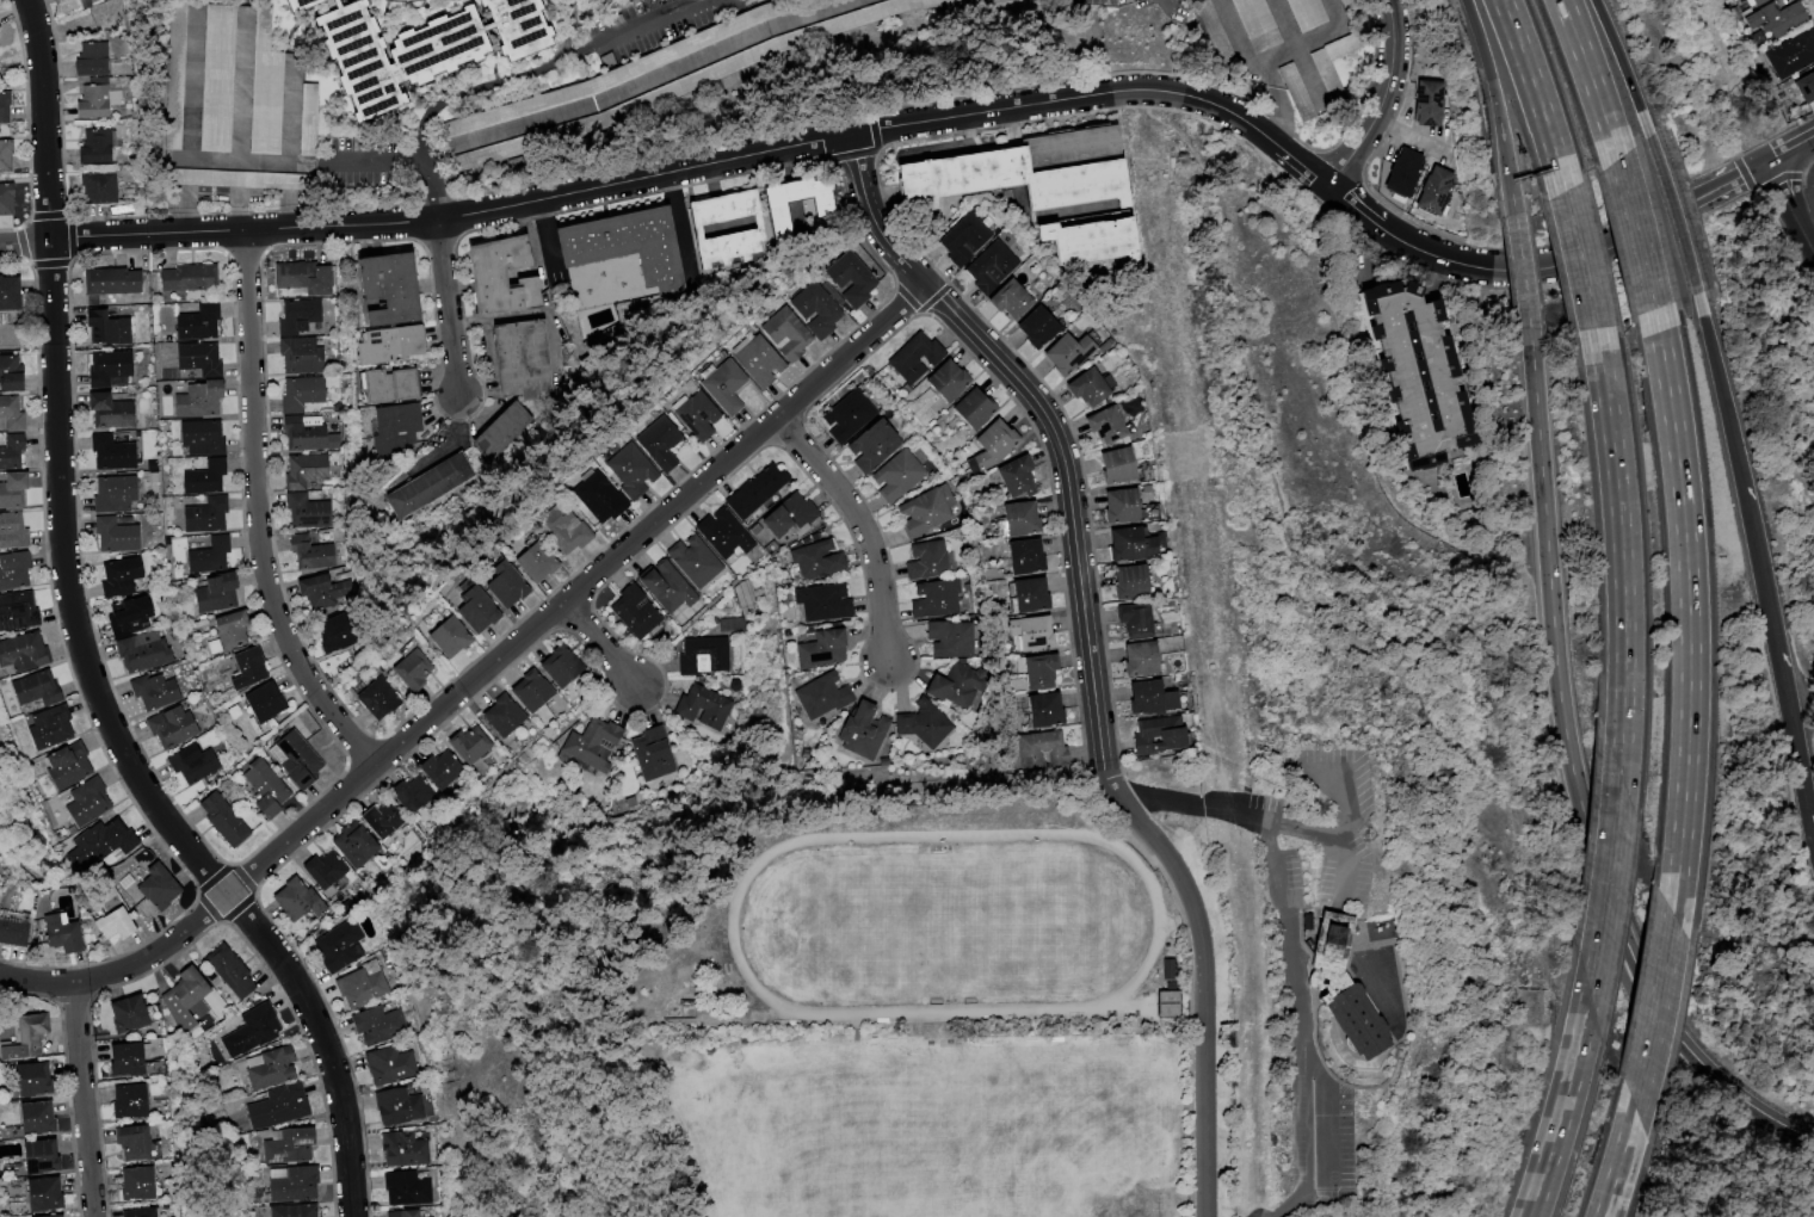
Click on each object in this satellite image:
building: (963, 1)
building: (1339, 1)
building: (1759, 1)
building: (291, 6)
building: (0, 11)
building: (1304, 12)
building: (1202, 17)
building: (1776, 18)
building: (1, 24)
building: (1254, 24)
road: (568, 25)
road: (1239, 37)
building: (1759, 37)
road: (1310, 39)
building: (417, 47)
building: (1793, 52)
building: (87, 60)
road: (531, 62)
building: (1315, 64)
road: (1622, 66)
building: (174, 75)
road: (693, 75)
building: (206, 78)
road: (1590, 78)
building: (1806, 86)
building: (1294, 92)
road: (1535, 93)
road: (1494, 97)
building: (264, 99)
road: (1384, 100)
building: (88, 103)
building: (1424, 103)
road: (1277, 104)
building: (6, 109)
building: (306, 121)
road: (1412, 135)
road: (952, 146)
building: (91, 147)
road: (1788, 148)
building: (7, 154)
building: (476, 156)
road: (253, 160)
road: (409, 163)
building: (1399, 171)
road: (680, 172)
building: (1016, 173)
building: (235, 179)
building: (94, 186)
building: (1431, 190)
building: (375, 196)
building: (8, 198)
building: (782, 205)
road: (1788, 210)
road: (1673, 212)
road: (679, 218)
building: (724, 227)
road: (1636, 233)
road: (544, 236)
building: (961, 239)
building: (1080, 242)
building: (619, 243)
road: (1580, 258)
building: (988, 267)
road: (1547, 267)
road: (1522, 271)
building: (490, 274)
building: (301, 277)
building: (186, 278)
building: (849, 282)
building: (109, 283)
building: (380, 291)
building: (527, 291)
building: (11, 294)
building: (1006, 301)
road: (451, 309)
building: (813, 309)
building: (297, 316)
building: (196, 323)
building: (106, 327)
building: (1034, 328)
building: (782, 334)
building: (387, 346)
building: (1062, 354)
building: (300, 356)
building: (197, 358)
building: (914, 358)
building: (519, 360)
building: (752, 362)
building: (106, 365)
building: (1415, 370)
building: (12, 373)
building: (945, 381)
building: (718, 384)
building: (384, 387)
building: (1082, 388)
road: (1720, 389)
building: (300, 394)
building: (196, 400)
building: (973, 409)
building: (107, 410)
building: (12, 413)
building: (692, 416)
building: (846, 416)
road: (452, 422)
building: (394, 425)
building: (1100, 426)
building: (500, 430)
building: (306, 435)
building: (200, 437)
building: (992, 443)
building: (653, 444)
building: (869, 445)
building: (13, 451)
building: (110, 453)
building: (1113, 467)
building: (304, 470)
building: (624, 471)
building: (895, 475)
building: (1014, 476)
building: (203, 477)
building: (16, 490)
building: (753, 490)
building: (112, 493)
building: (593, 499)
building: (402, 500)
building: (1117, 505)
building: (306, 511)
building: (925, 511)
building: (204, 515)
building: (789, 515)
road: (259, 517)
building: (1017, 518)
road: (864, 527)
building: (559, 530)
building: (721, 533)
building: (113, 535)
building: (14, 536)
building: (1127, 542)
road: (1619, 550)
building: (310, 552)
building: (208, 555)
building: (1023, 556)
building: (926, 560)
building: (691, 561)
building: (813, 561)
building: (530, 563)
building: (14, 570)
building: (119, 575)
building: (1125, 580)
building: (500, 585)
building: (665, 587)
building: (316, 592)
building: (215, 593)
building: (1026, 593)
building: (934, 598)
building: (821, 603)
building: (470, 608)
building: (18, 610)
road: (1689, 610)
building: (631, 611)
building: (127, 614)
building: (1130, 619)
building: (334, 630)
building: (1028, 631)
building: (226, 632)
building: (444, 637)
building: (949, 638)
road: (84, 643)
road: (603, 645)
building: (817, 648)
building: (24, 651)
building: (142, 651)
building: (703, 655)
road: (1092, 655)
building: (1136, 656)
road: (1777, 657)
building: (557, 665)
building: (246, 668)
building: (1036, 668)
building: (408, 671)
road: (482, 677)
building: (955, 686)
building: (38, 690)
building: (529, 690)
building: (152, 691)
building: (820, 694)
building: (1146, 696)
building: (376, 698)
building: (261, 703)
building: (695, 704)
building: (1039, 708)
building: (500, 715)
building: (856, 718)
building: (924, 723)
building: (50, 727)
building: (171, 727)
building: (1152, 735)
building: (1044, 740)
building: (592, 743)
building: (467, 745)
building: (652, 749)
building: (288, 759)
building: (191, 765)
building: (67, 767)
building: (438, 768)
road: (1577, 785)
building: (263, 787)
building: (408, 792)
road: (1345, 792)
building: (88, 803)
building: (221, 818)
building: (370, 820)
road: (1813, 834)
road: (1329, 836)
building: (104, 840)
building: (351, 845)
building: (321, 869)
road: (1606, 884)
building: (163, 887)
building: (295, 897)
building: (122, 925)
building: (17, 928)
building: (68, 934)
building: (1324, 939)
building: (334, 945)
road: (1292, 952)
building: (1167, 968)
building: (233, 971)
building: (359, 987)
building: (189, 999)
building: (1167, 1002)
road: (1655, 1012)
building: (132, 1015)
building: (1350, 1018)
building: (374, 1025)
building: (258, 1027)
building: (31, 1037)
park: (10, 1048)
building: (134, 1061)
building: (388, 1064)
building: (272, 1068)
building: (37, 1079)
road: (86, 1100)
building: (137, 1101)
building: (395, 1105)
road: (1561, 1106)
building: (278, 1107)
building: (41, 1118)
building: (141, 1142)
building: (290, 1145)
building: (403, 1149)
building: (45, 1156)
road: (1618, 1162)
building: (147, 1185)
building: (295, 1185)
building: (406, 1188)
building: (49, 1194)
building: (295, 1211)
building: (149, 1213)
building: (402, 1213)
building: (48, 1216)

